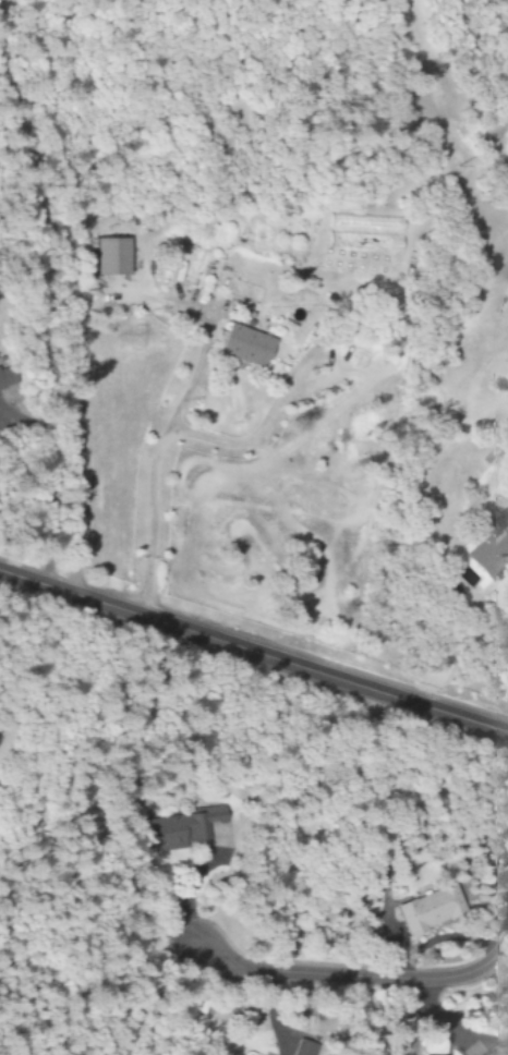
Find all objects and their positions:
road: (1, 4)
building: (376, 223)
building: (365, 241)
building: (113, 255)
building: (363, 279)
road: (70, 311)
building: (249, 345)
building: (8, 377)
building: (492, 550)
road: (254, 651)
building: (188, 833)
building: (432, 909)
road: (353, 978)
building: (497, 1048)
building: (306, 1050)
building: (250, 1054)

